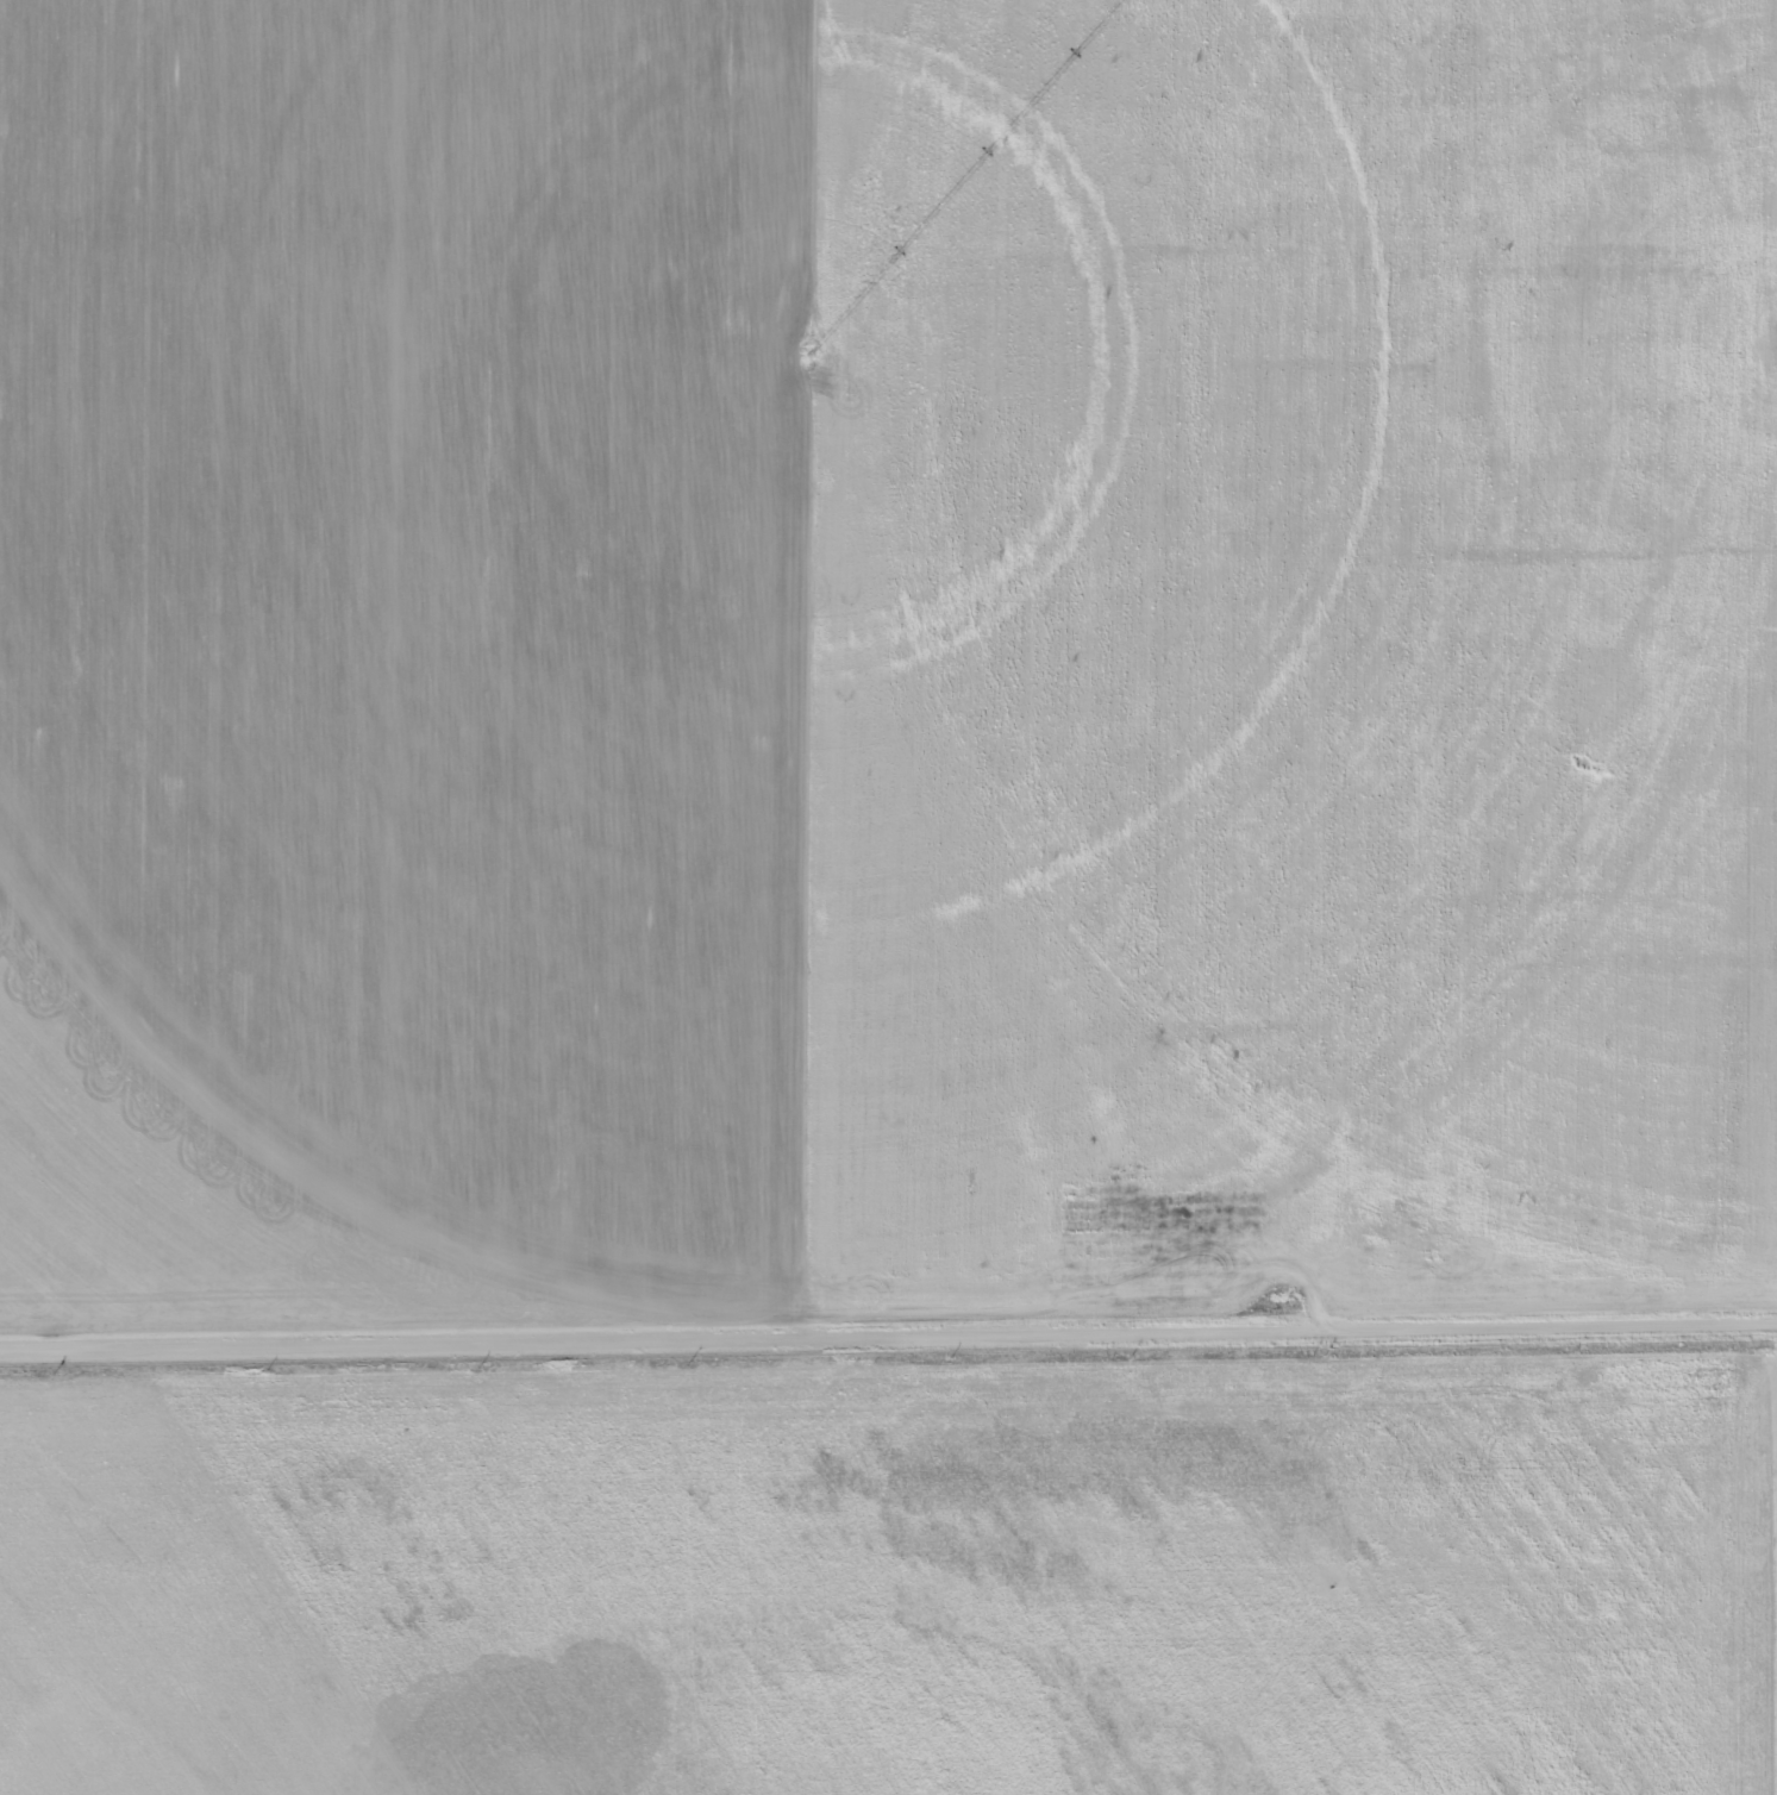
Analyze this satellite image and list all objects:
road: (888, 1340)

